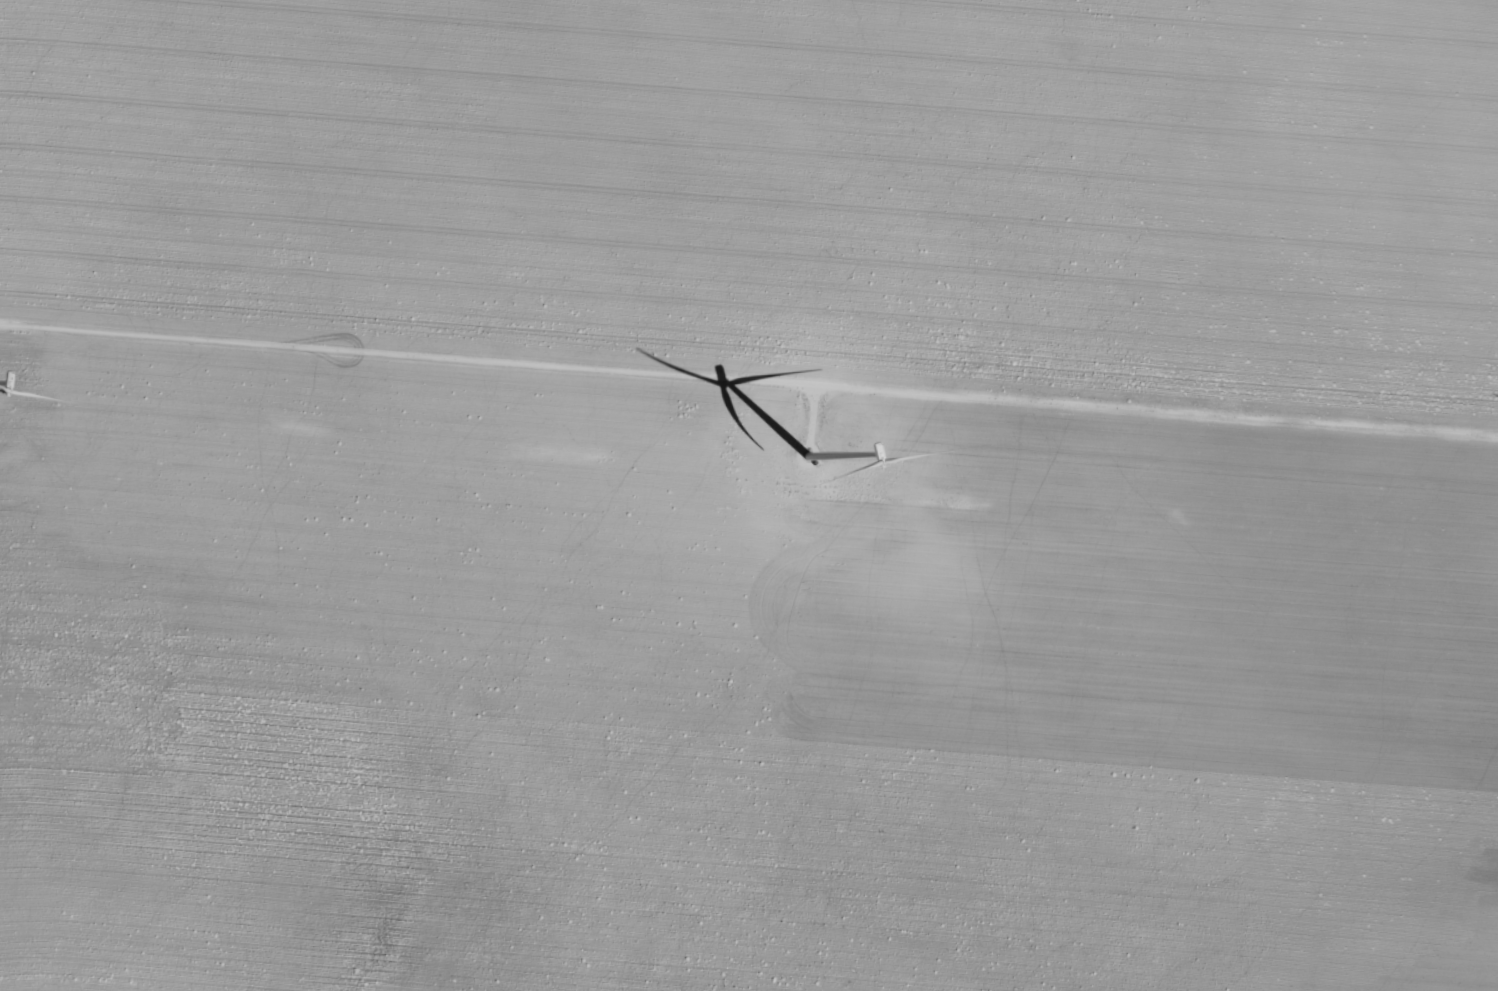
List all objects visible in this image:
road: (1493, 17)
wind turbine: (807, 463)
road: (1320, 946)

